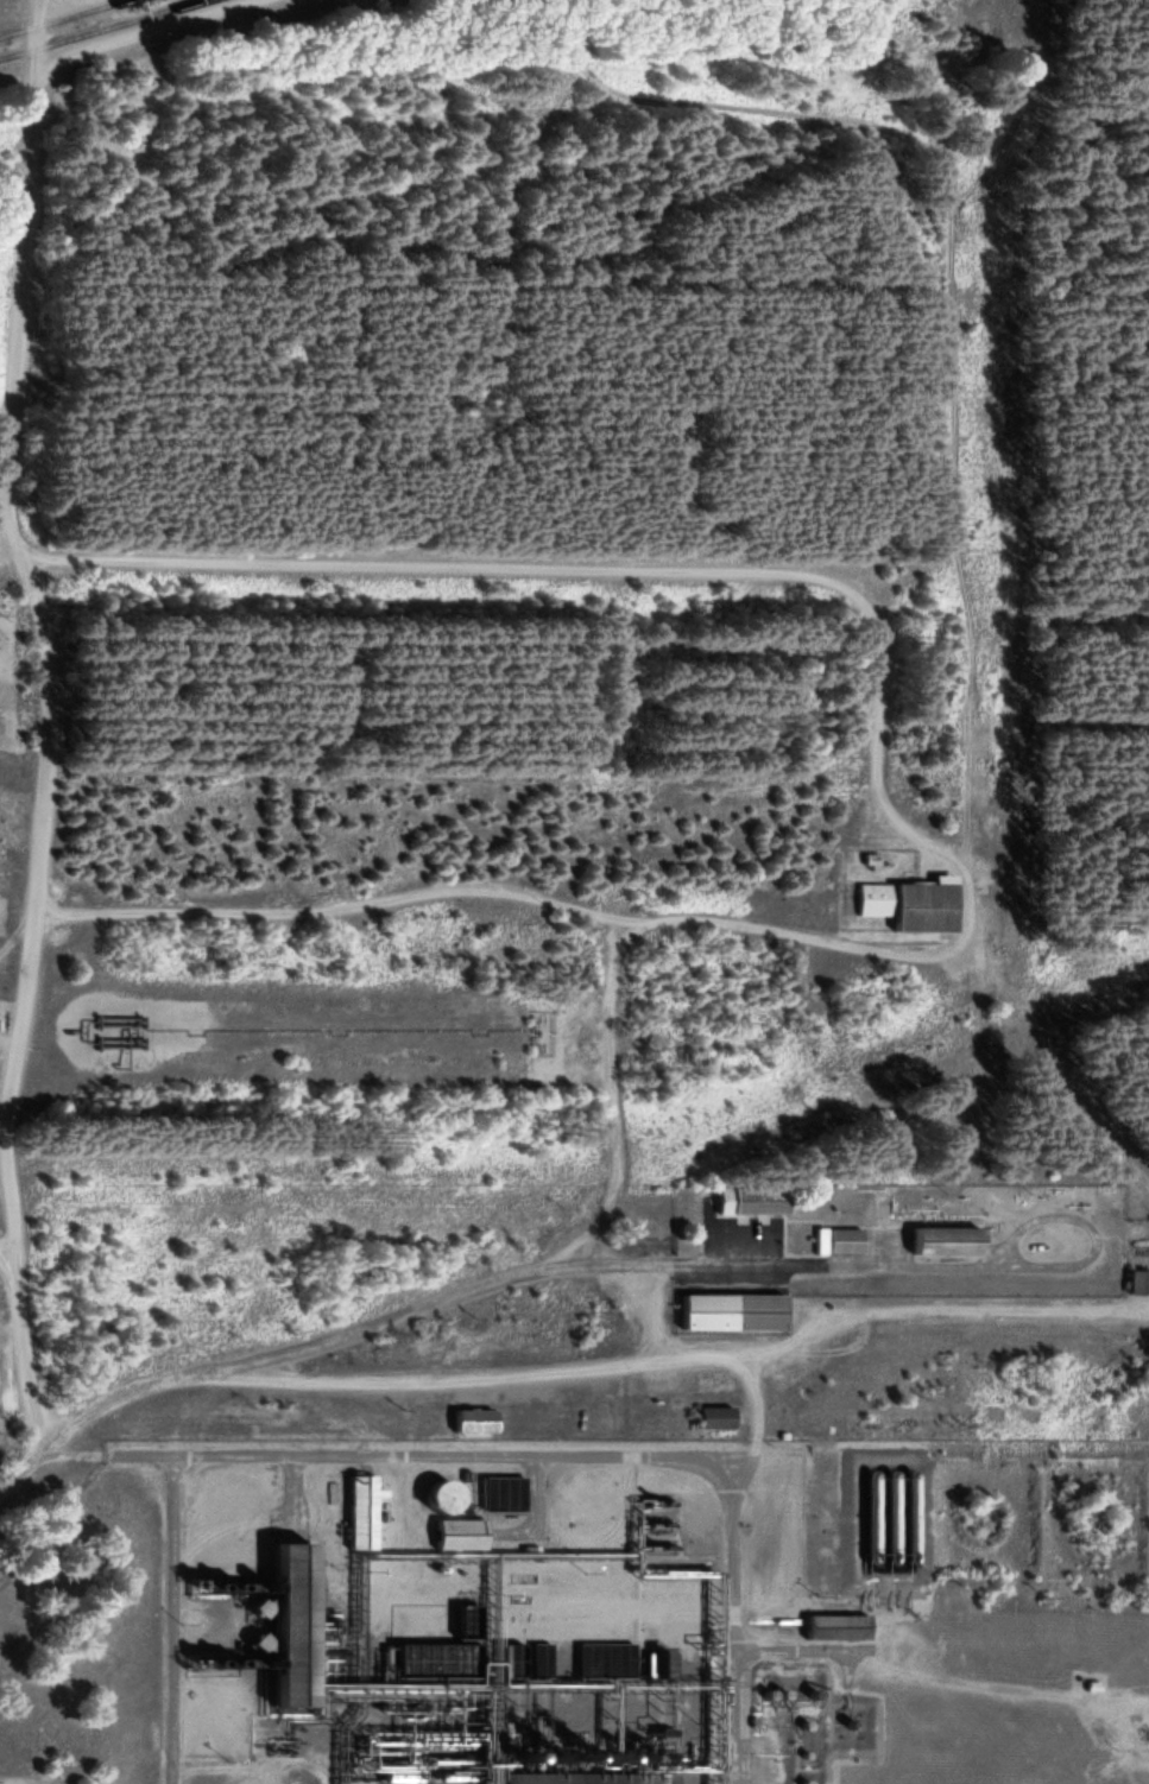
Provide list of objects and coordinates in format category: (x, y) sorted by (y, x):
railway: (67, 19)
railway: (106, 31)
road: (387, 572)
building: (909, 906)
building: (114, 1035)
building: (746, 1202)
building: (940, 1241)
building: (835, 1242)
building: (1136, 1283)
building: (730, 1312)
road: (292, 1379)
building: (712, 1418)
building: (469, 1422)
building: (499, 1494)
building: (436, 1499)
building: (358, 1512)
building: (867, 1512)
building: (895, 1516)
building: (454, 1536)
building: (284, 1626)
building: (833, 1627)
building: (413, 1669)
building: (530, 1779)

